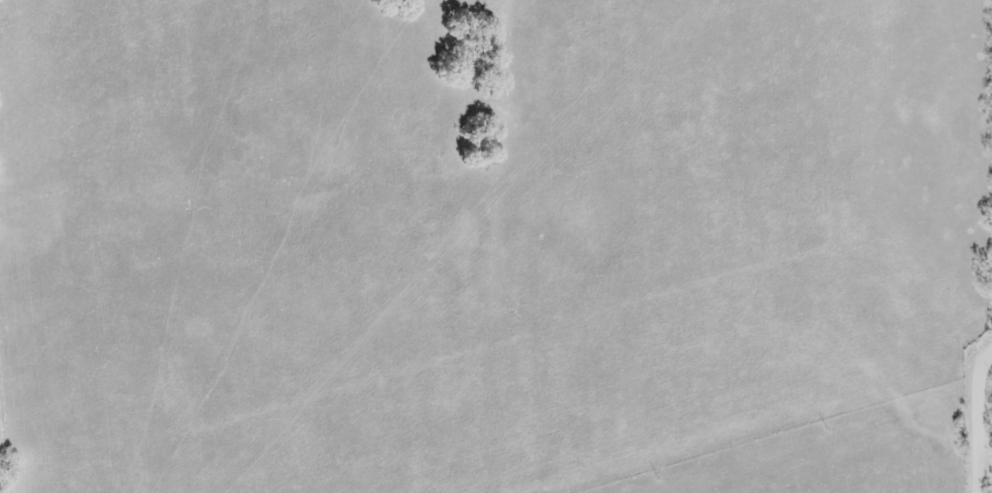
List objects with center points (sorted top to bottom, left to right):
road: (973, 416)

